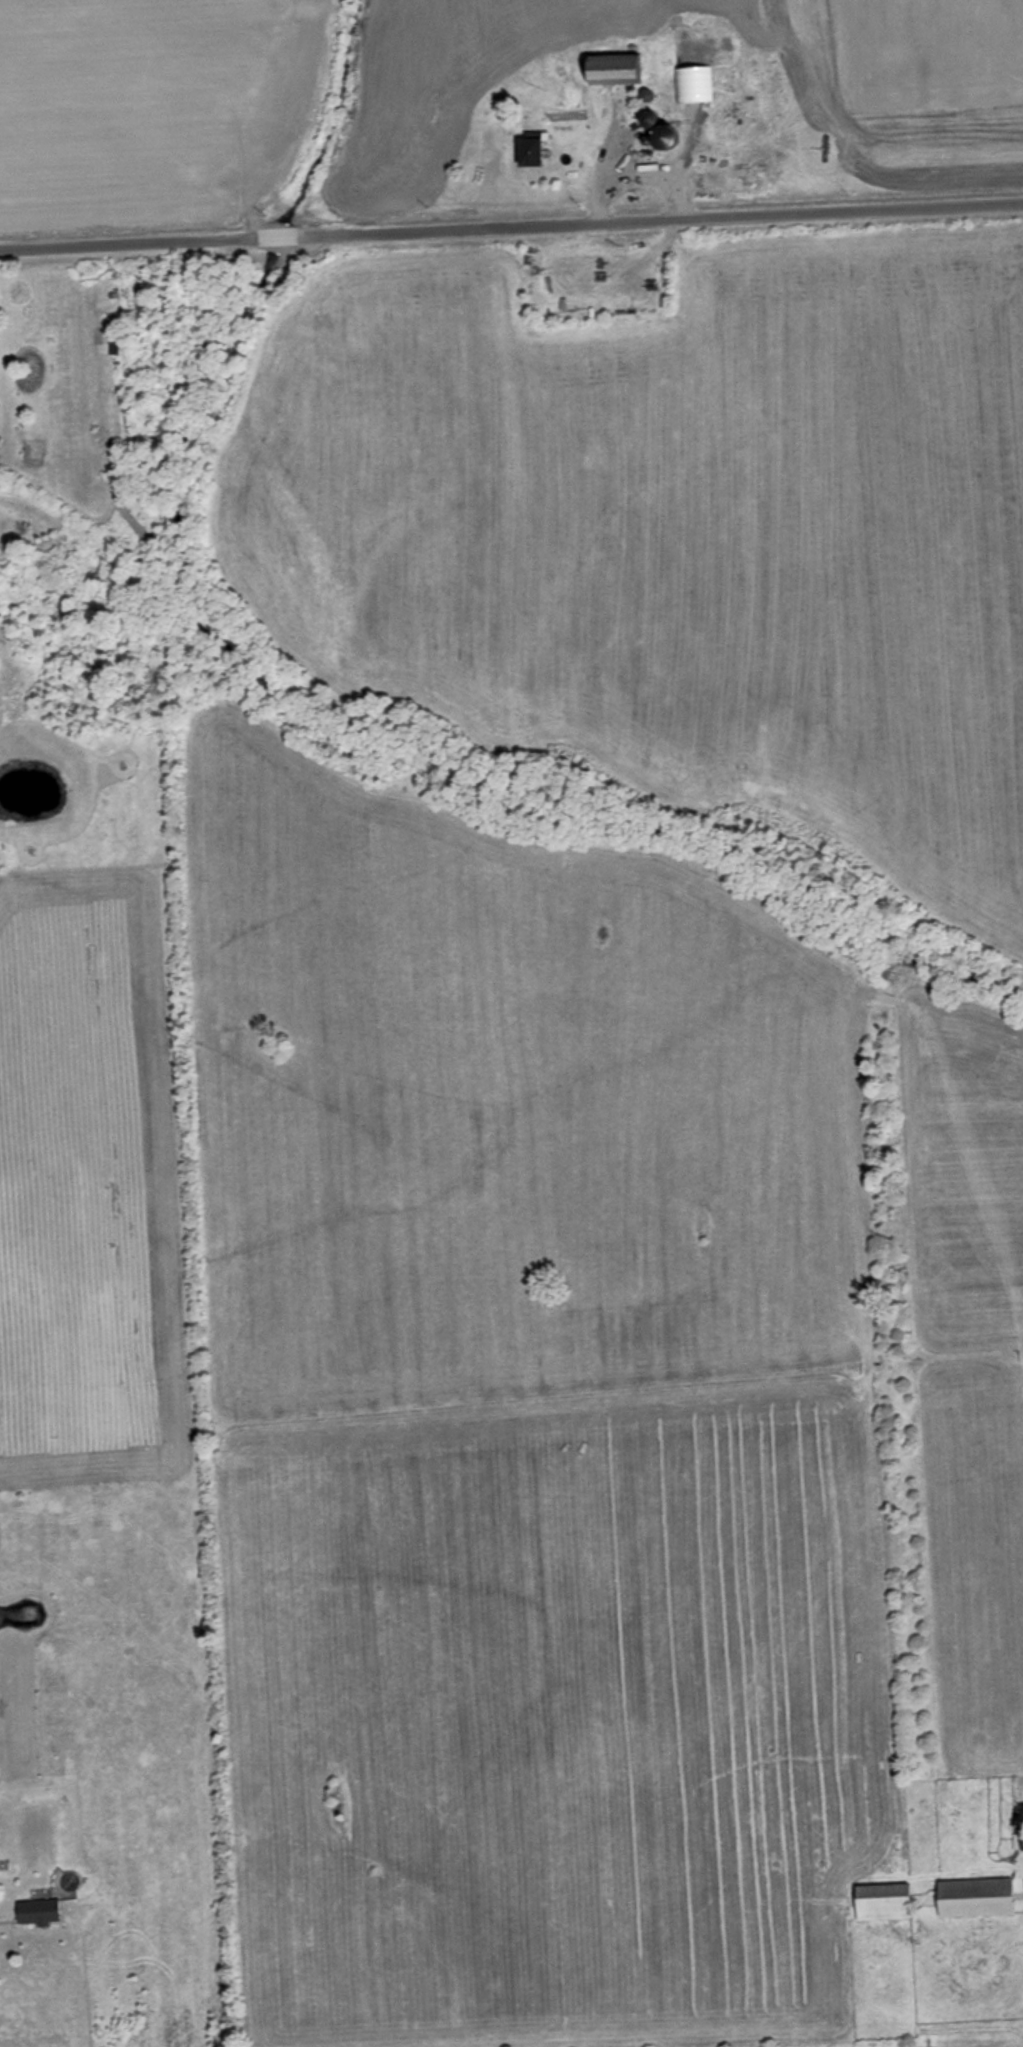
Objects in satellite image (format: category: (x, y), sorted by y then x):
building: (666, 42)
building: (610, 70)
building: (529, 150)
road: (511, 226)
building: (975, 1899)
building: (883, 1903)
building: (38, 1912)

